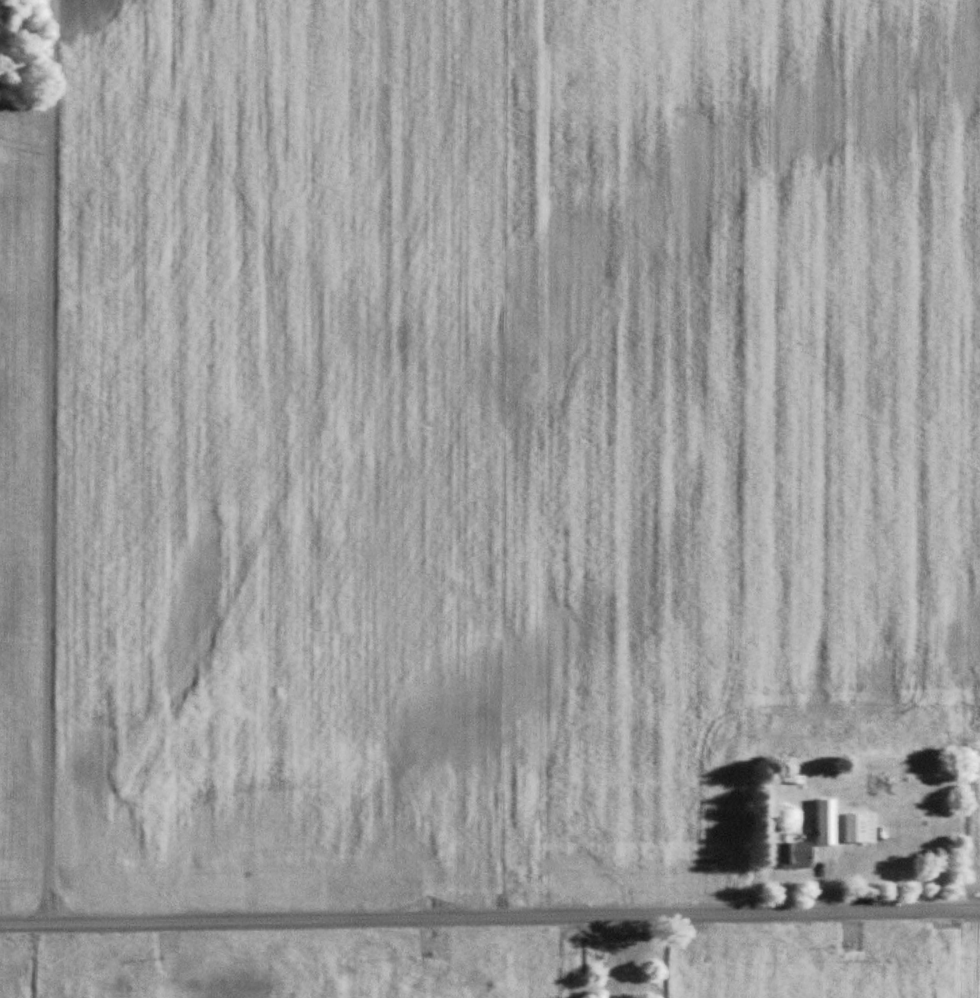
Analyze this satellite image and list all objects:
road: (46, 463)
building: (793, 780)
building: (827, 829)
building: (860, 829)
building: (793, 855)
road: (490, 918)

